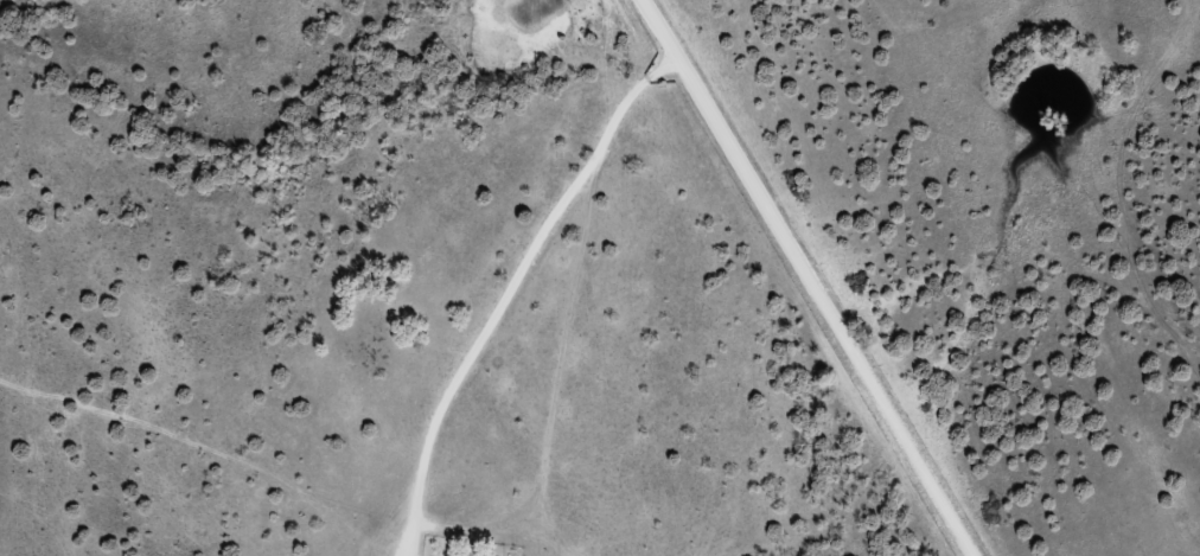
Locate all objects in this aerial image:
road: (815, 276)

